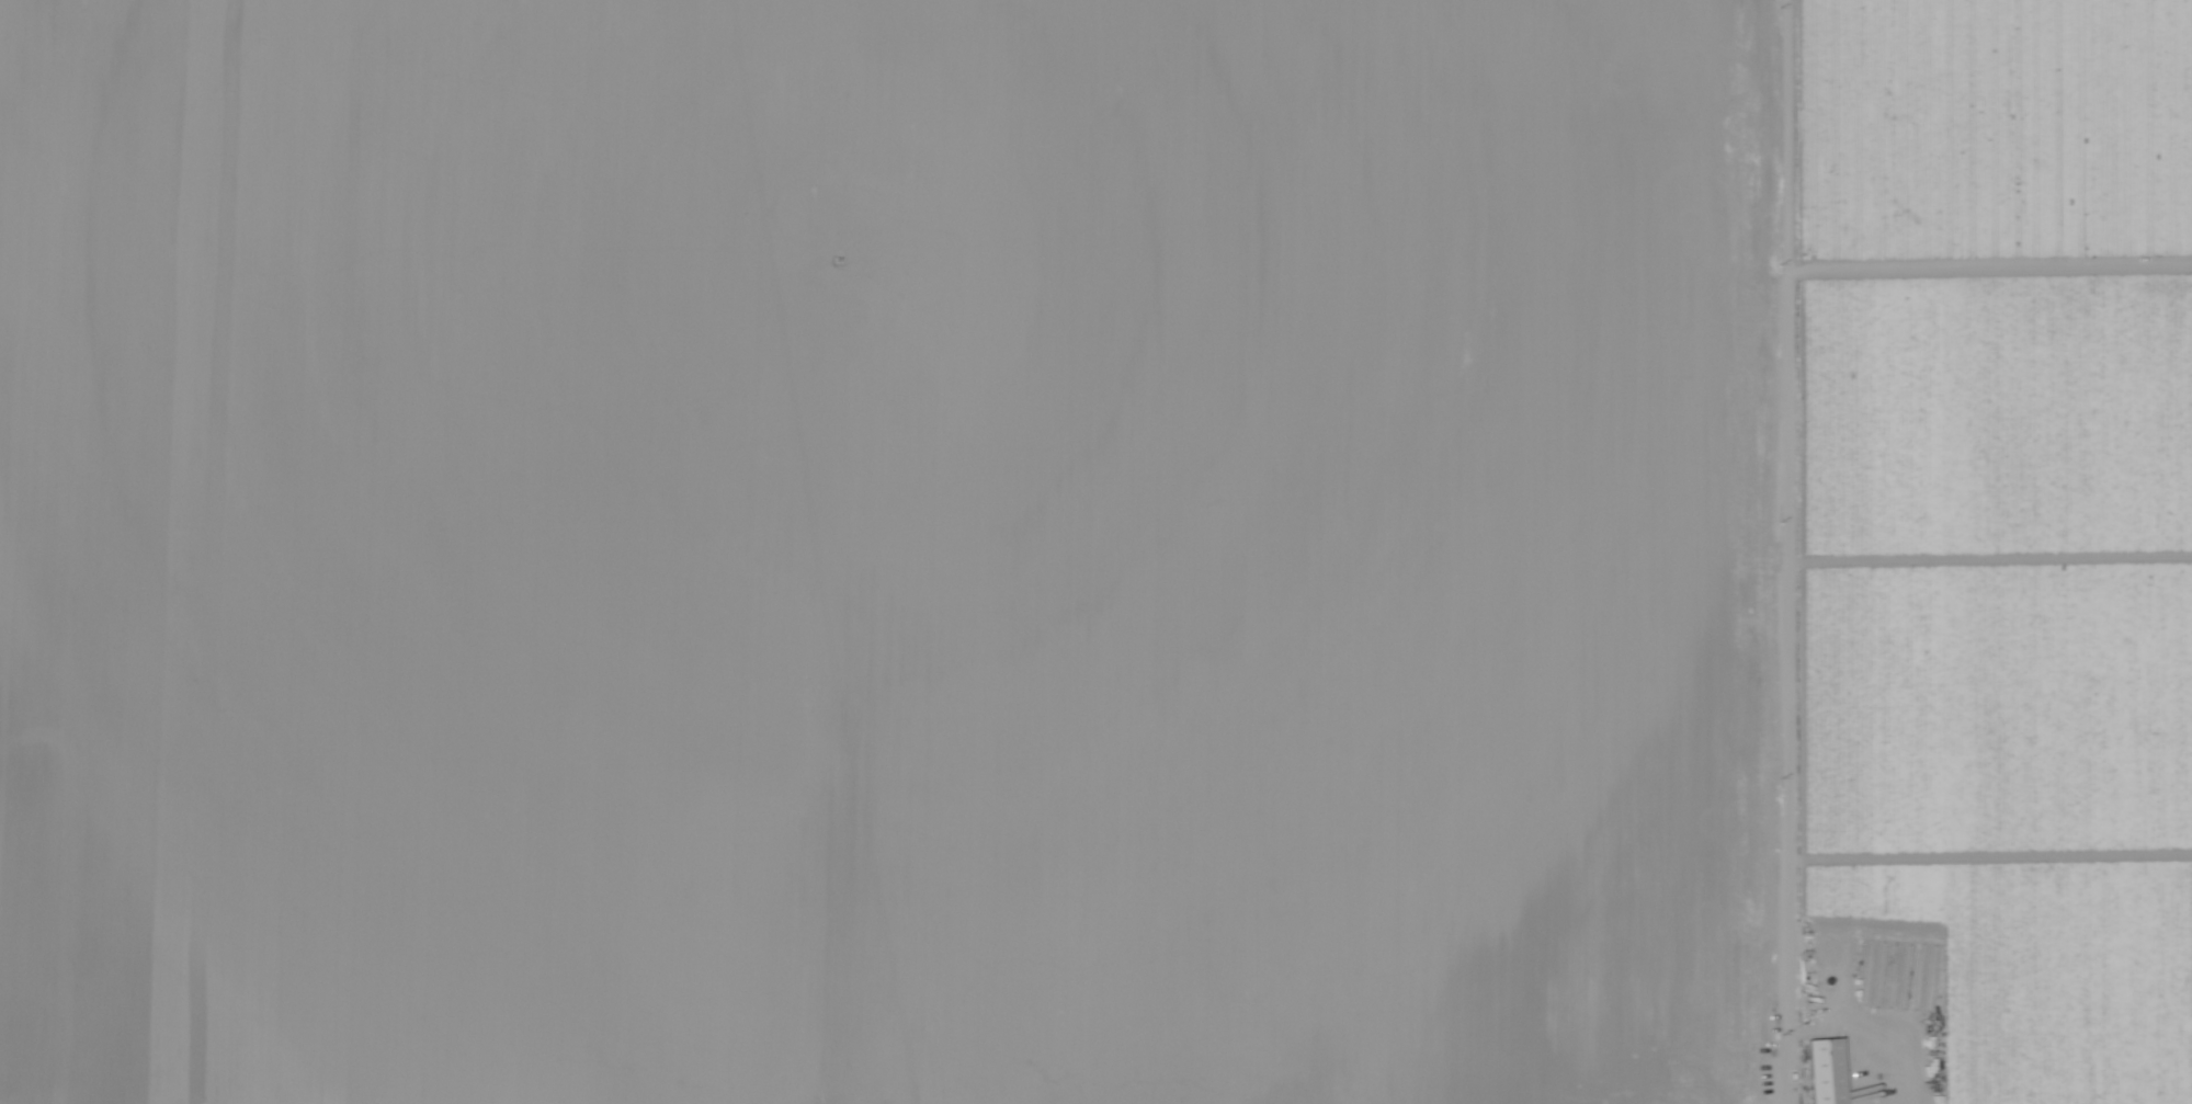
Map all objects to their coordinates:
road: (1793, 551)

